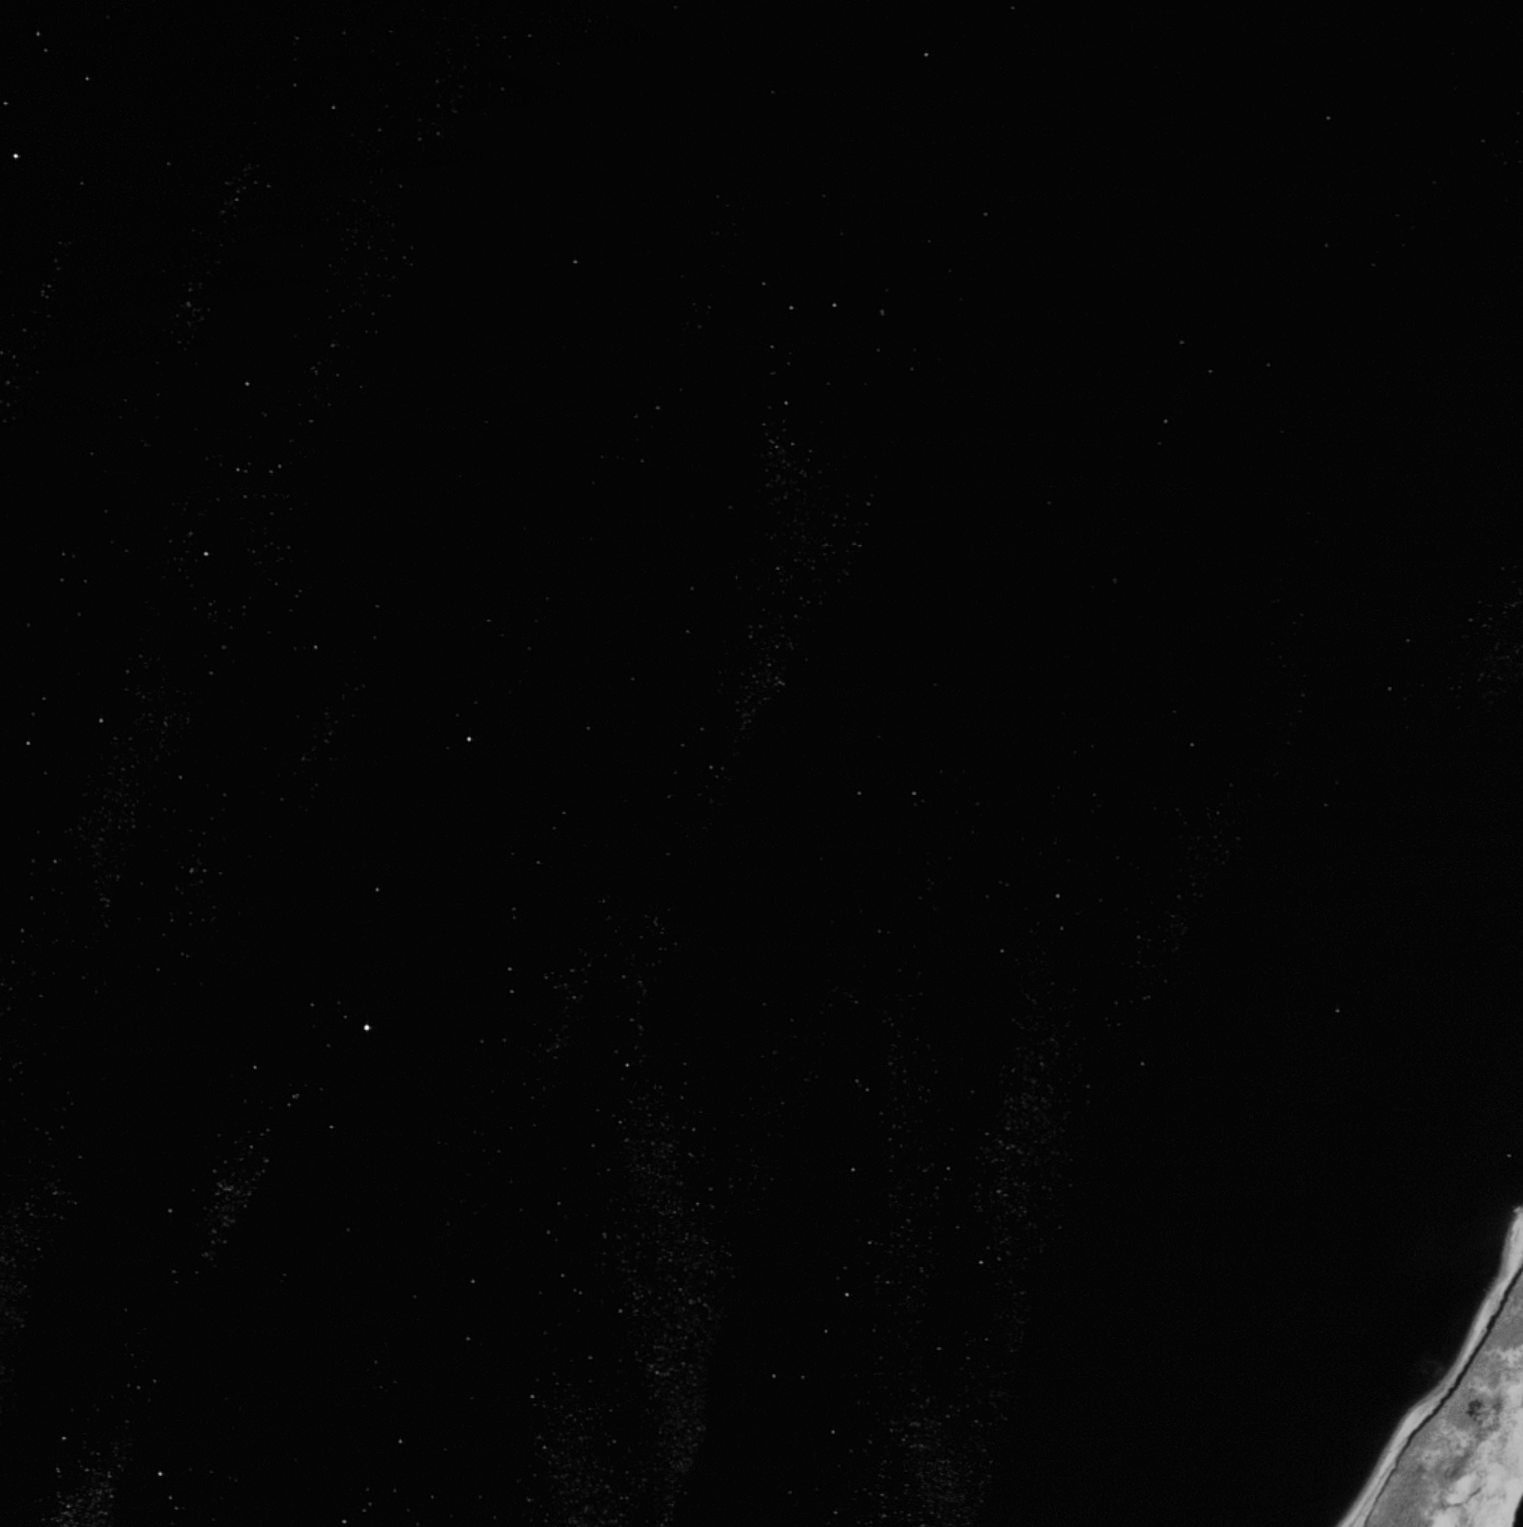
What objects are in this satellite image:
park: (1444, 1377)

